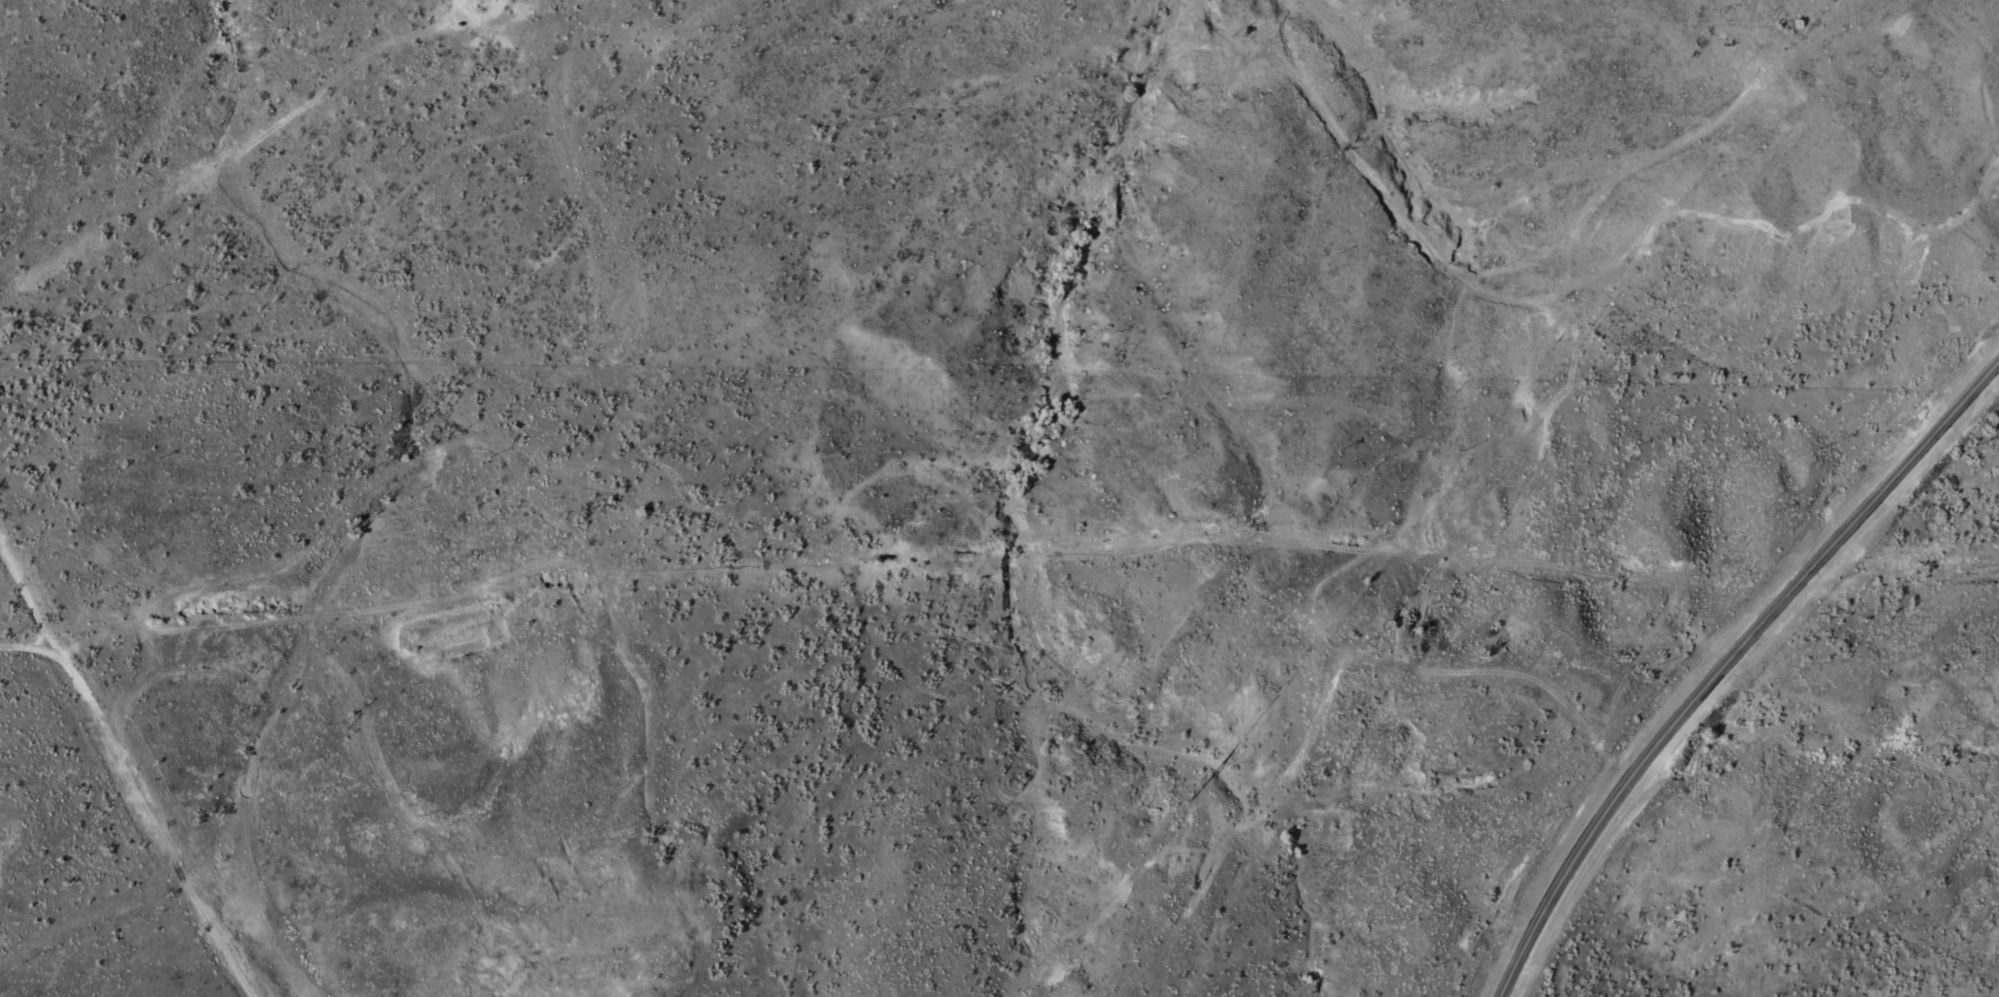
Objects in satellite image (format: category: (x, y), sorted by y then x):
road: (1729, 667)
road: (123, 779)

